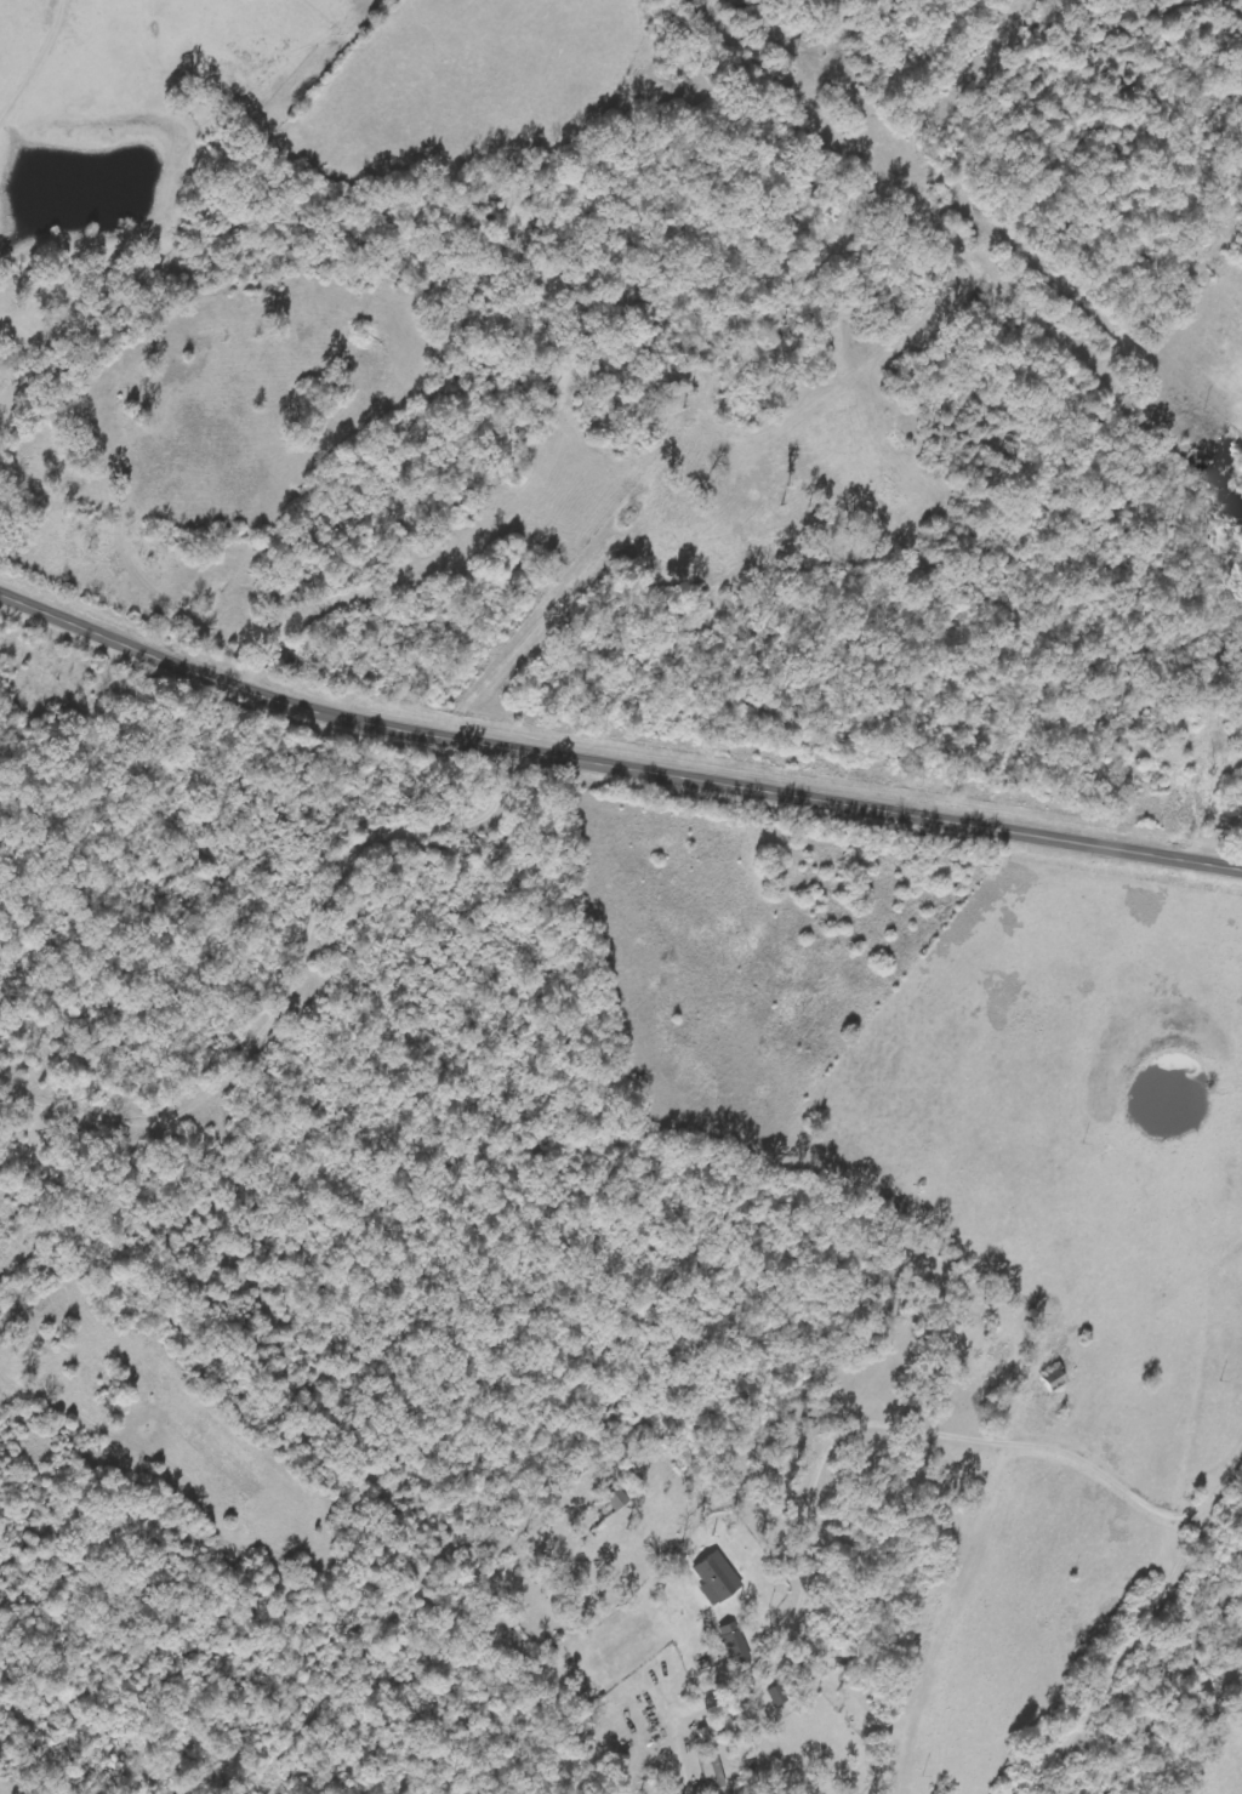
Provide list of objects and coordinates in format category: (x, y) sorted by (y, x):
road: (611, 764)
building: (712, 1578)
building: (708, 1771)

